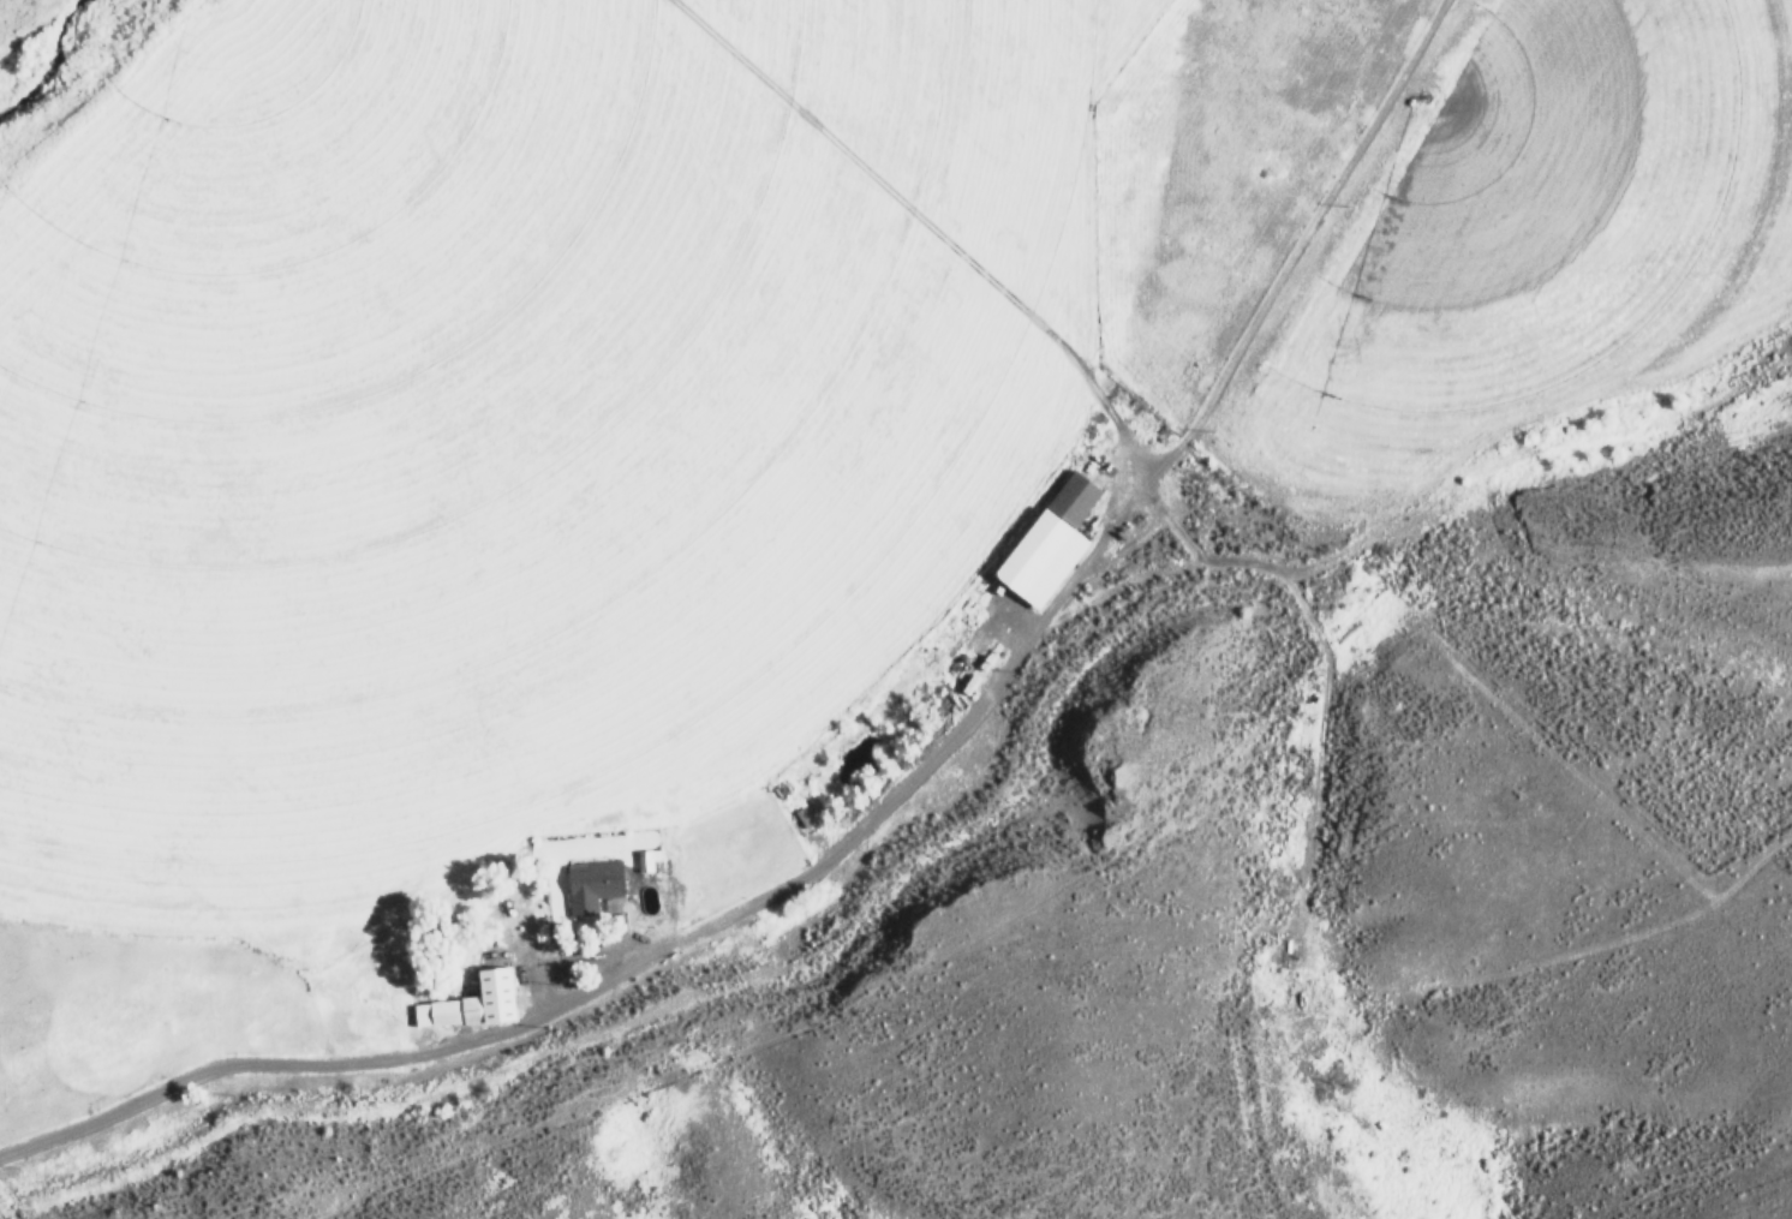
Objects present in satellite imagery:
river: (60, 32)
building: (1050, 542)
building: (646, 860)
building: (592, 886)
road: (632, 969)
building: (472, 1003)

